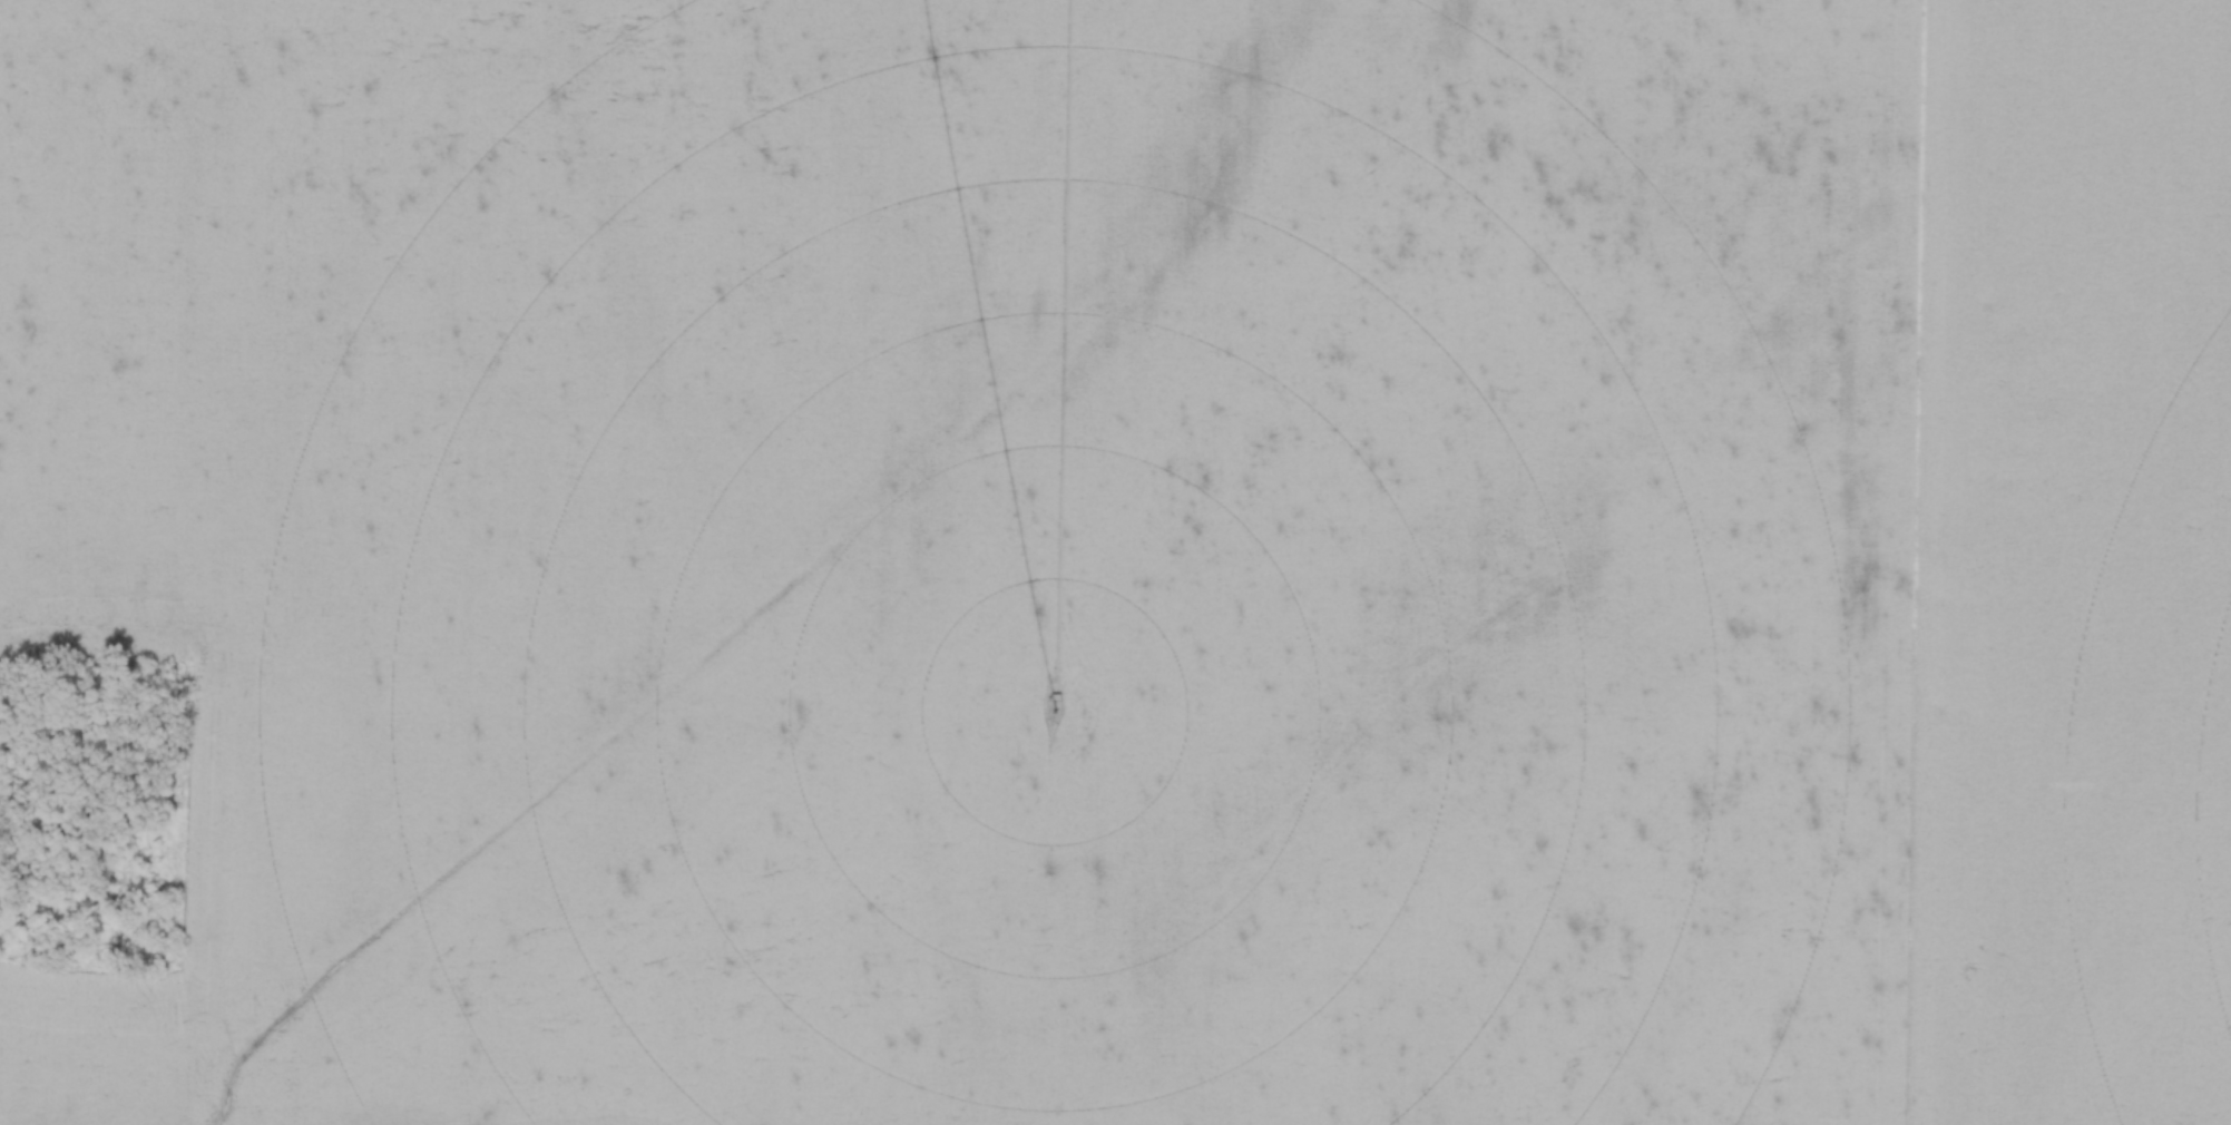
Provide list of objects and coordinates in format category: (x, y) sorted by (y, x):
park: (92, 810)

